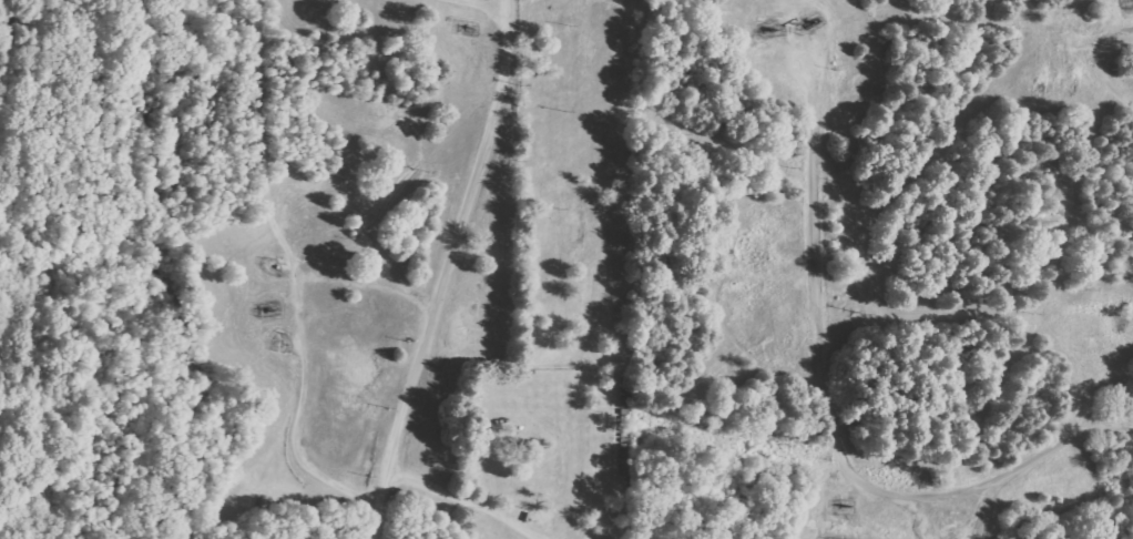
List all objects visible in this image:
road: (448, 269)

